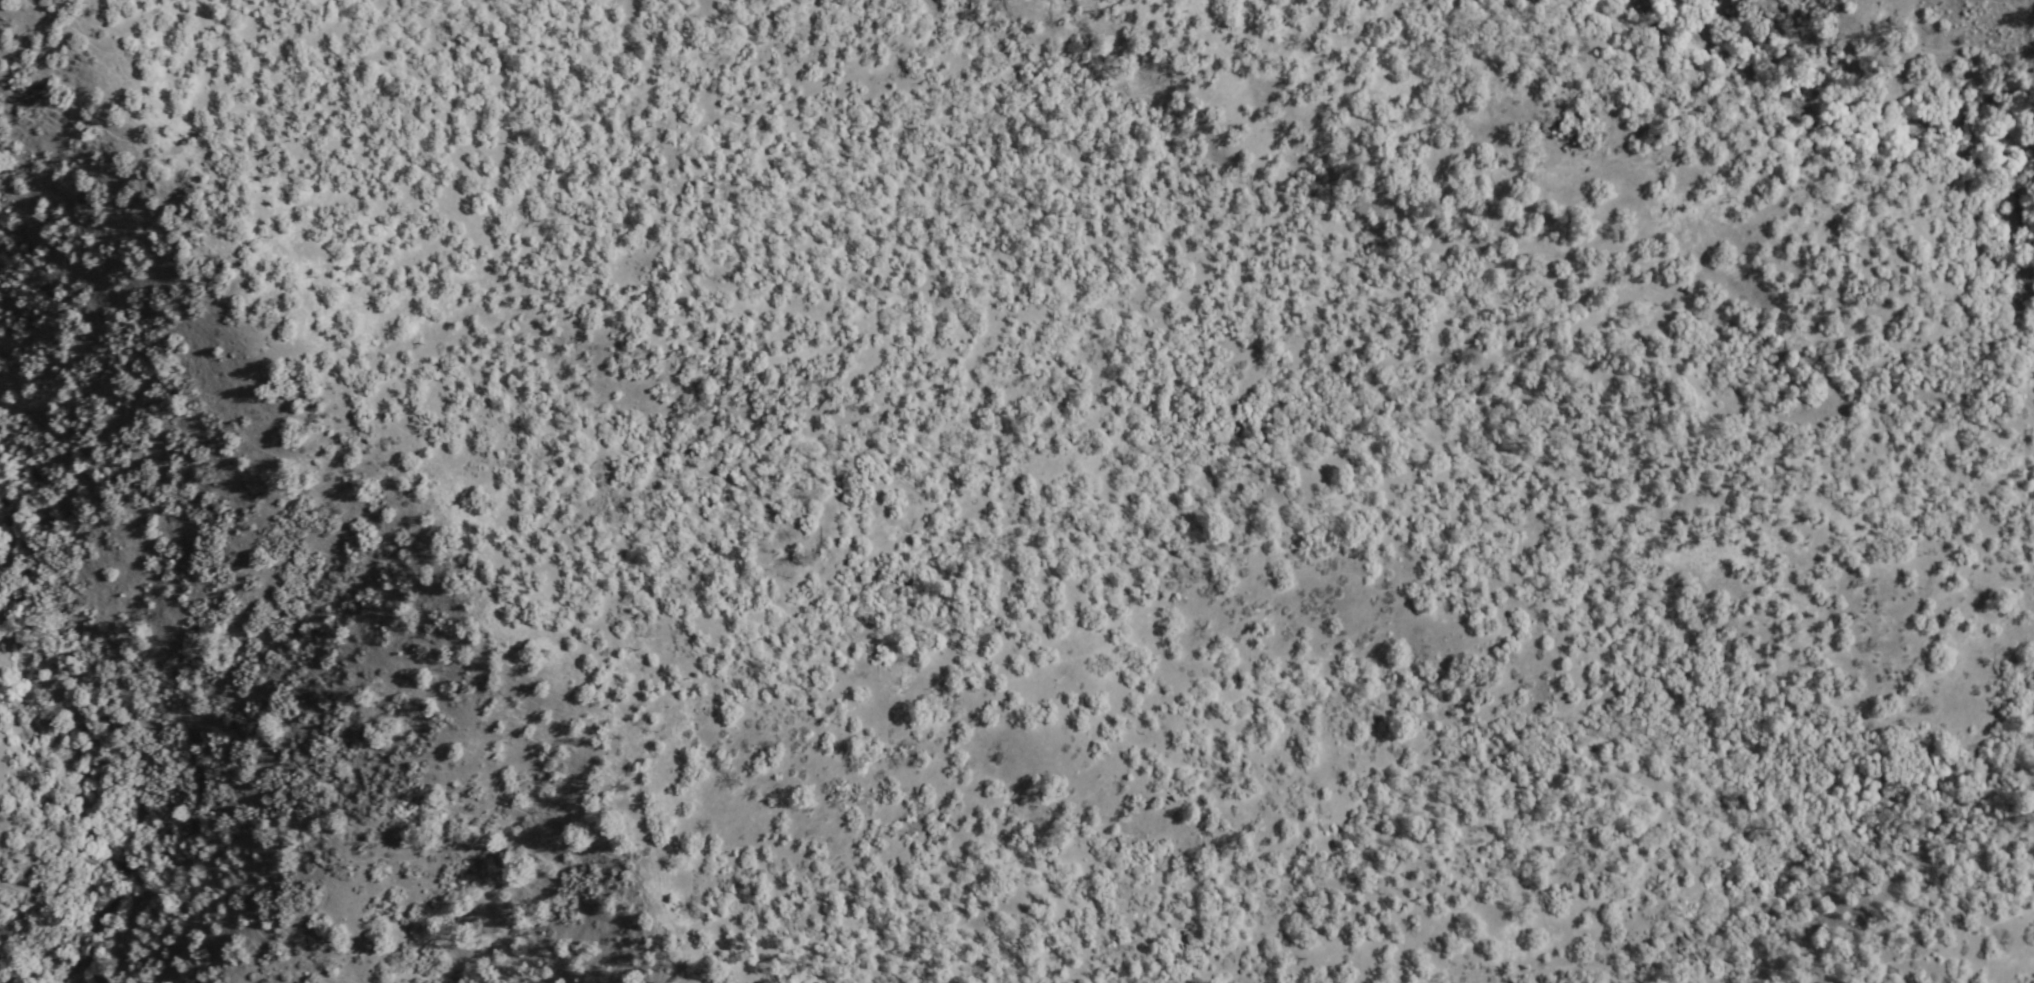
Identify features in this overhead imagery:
road: (92, 42)

